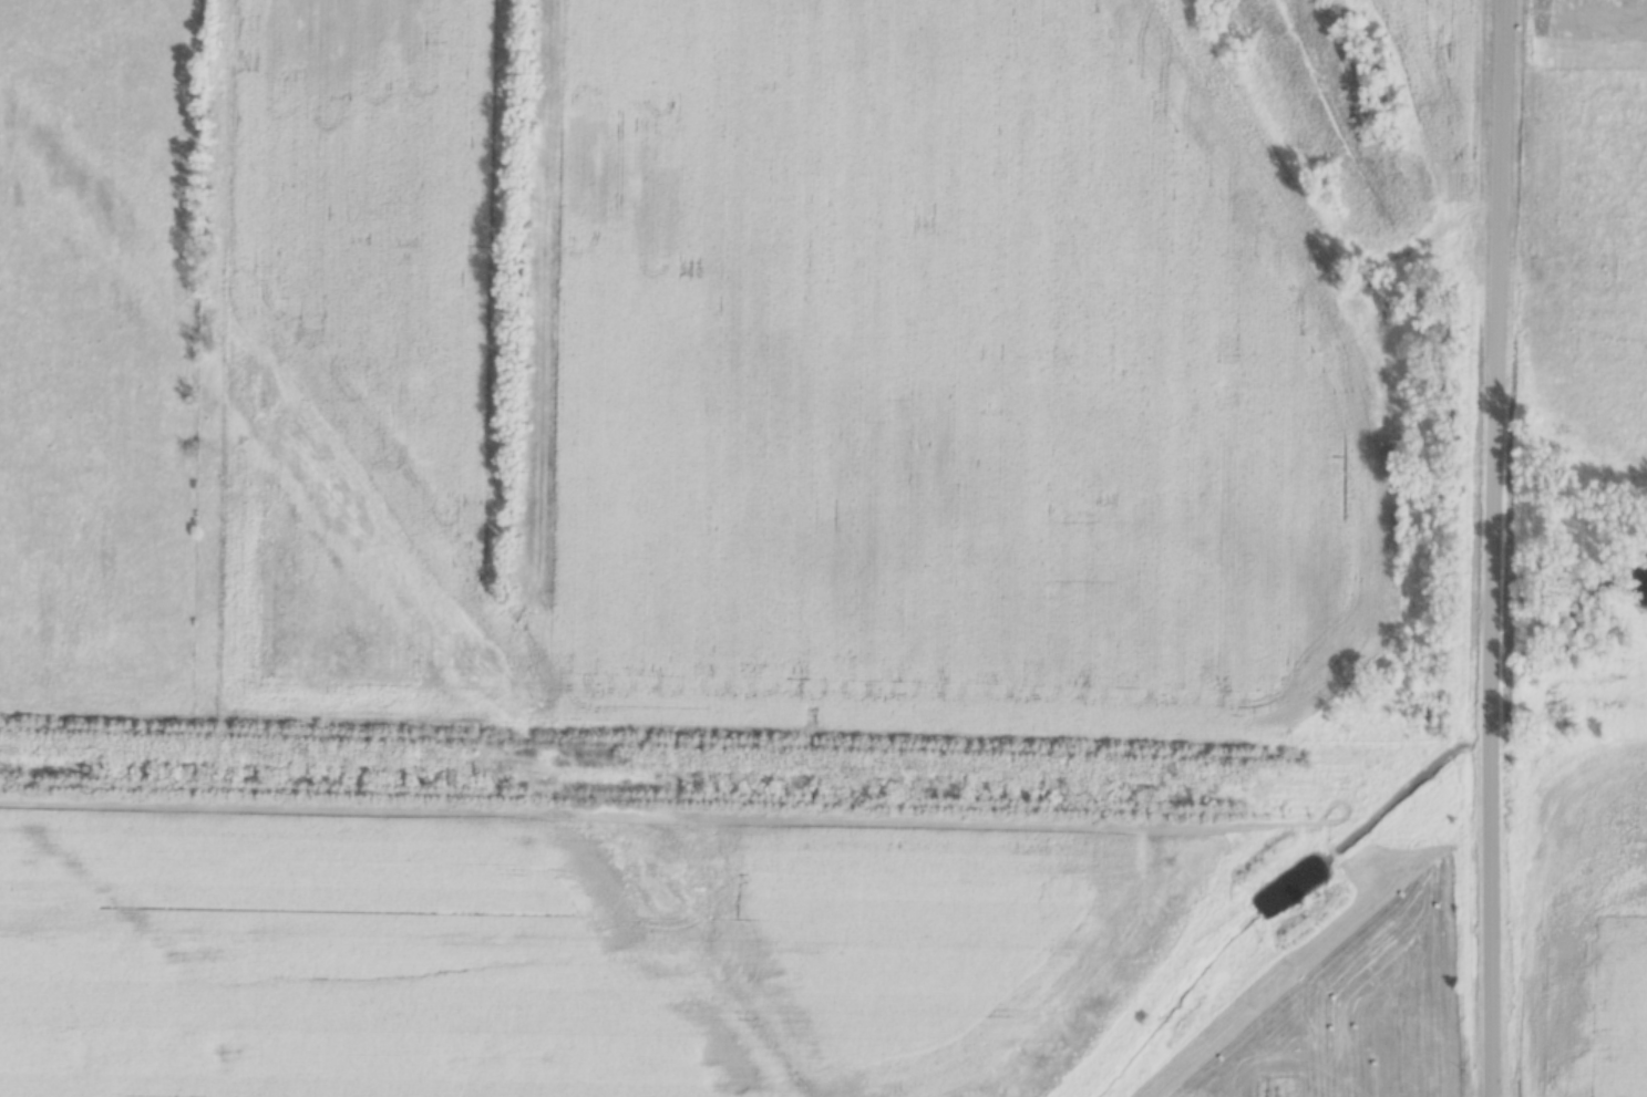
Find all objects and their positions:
road: (1488, 548)

